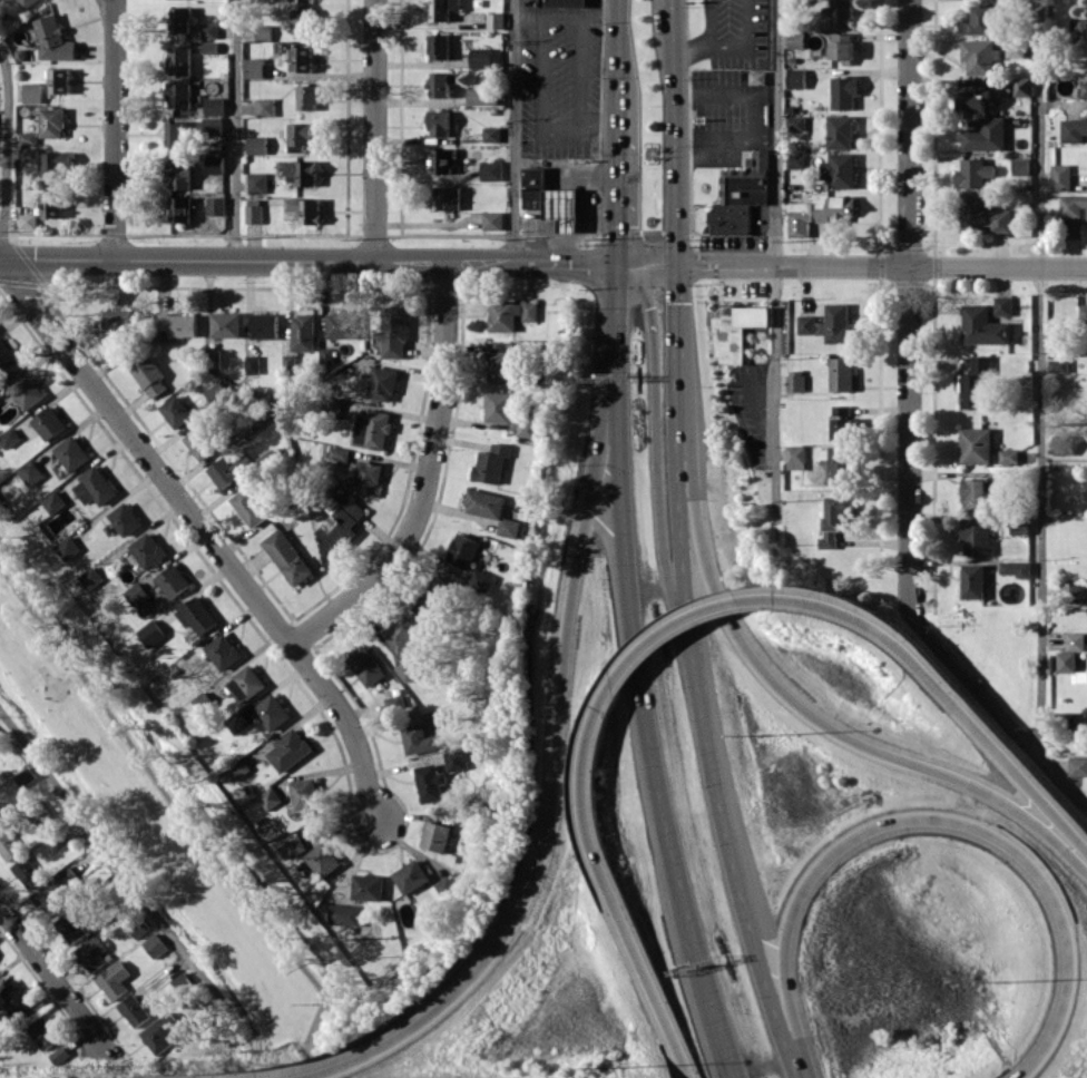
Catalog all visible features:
building: (1022, 0)
building: (28, 2)
road: (111, 2)
road: (112, 2)
building: (564, 2)
building: (443, 9)
road: (598, 10)
building: (842, 12)
building: (180, 19)
road: (540, 19)
building: (303, 20)
building: (496, 20)
building: (981, 20)
building: (1081, 27)
building: (209, 29)
building: (264, 32)
building: (796, 39)
building: (53, 40)
building: (209, 47)
building: (439, 47)
building: (843, 47)
building: (1016, 48)
road: (618, 51)
building: (979, 56)
building: (481, 57)
building: (303, 58)
building: (180, 60)
building: (255, 67)
building: (758, 77)
building: (796, 78)
building: (60, 80)
building: (440, 84)
building: (1024, 86)
building: (1084, 89)
building: (32, 91)
building: (845, 91)
building: (180, 95)
building: (482, 96)
building: (307, 97)
building: (978, 98)
building: (215, 106)
building: (266, 107)
building: (51, 121)
road: (598, 121)
building: (439, 122)
building: (797, 122)
building: (213, 126)
road: (236, 129)
road: (375, 129)
building: (1074, 129)
road: (515, 130)
road: (115, 131)
road: (675, 131)
building: (842, 131)
building: (177, 133)
building: (491, 134)
building: (300, 135)
building: (986, 135)
building: (28, 137)
road: (7, 140)
building: (257, 144)
building: (29, 153)
building: (796, 160)
building: (57, 163)
building: (215, 164)
building: (1021, 166)
building: (491, 169)
building: (840, 169)
building: (301, 170)
building: (975, 173)
building: (179, 174)
building: (1061, 176)
building: (257, 182)
road: (616, 183)
building: (742, 194)
building: (448, 197)
building: (551, 199)
building: (51, 204)
building: (216, 205)
building: (1073, 205)
building: (180, 209)
building: (304, 209)
building: (254, 210)
building: (820, 213)
building: (983, 214)
building: (492, 219)
building: (28, 220)
road: (543, 261)
road: (776, 261)
traffic signals: (615, 262)
traffic signals: (678, 264)
building: (1003, 305)
road: (909, 307)
building: (1083, 312)
building: (511, 314)
building: (118, 322)
building: (178, 324)
building: (226, 324)
building: (341, 324)
building: (831, 324)
building: (265, 325)
building: (983, 326)
building: (737, 330)
building: (303, 332)
building: (394, 332)
building: (8, 360)
building: (502, 362)
building: (253, 363)
building: (1059, 365)
building: (842, 373)
building: (149, 375)
road: (1041, 380)
building: (977, 381)
building: (796, 382)
building: (383, 383)
building: (27, 391)
building: (216, 394)
building: (501, 405)
building: (176, 411)
building: (49, 422)
building: (843, 422)
building: (372, 429)
building: (527, 429)
building: (10, 437)
building: (200, 442)
building: (977, 444)
building: (1061, 447)
building: (72, 452)
building: (339, 453)
building: (270, 455)
building: (1009, 455)
building: (796, 457)
building: (491, 463)
road: (658, 463)
building: (842, 464)
building: (228, 470)
building: (30, 472)
building: (368, 478)
road: (424, 479)
building: (95, 487)
building: (978, 491)
building: (53, 501)
building: (248, 507)
building: (492, 509)
building: (125, 518)
building: (835, 518)
building: (1019, 523)
building: (341, 528)
road: (204, 531)
building: (977, 536)
building: (68, 548)
building: (148, 549)
building: (462, 550)
building: (287, 556)
building: (1016, 568)
building: (91, 577)
building: (481, 579)
building: (173, 580)
building: (973, 580)
building: (136, 592)
building: (433, 599)
building: (196, 615)
road: (669, 621)
building: (401, 631)
building: (151, 633)
building: (1075, 640)
building: (223, 651)
building: (1066, 660)
building: (364, 665)
building: (404, 669)
road: (637, 674)
road: (694, 675)
building: (1079, 677)
building: (245, 683)
road: (939, 687)
road: (786, 692)
building: (203, 702)
building: (394, 703)
building: (272, 712)
road: (996, 714)
building: (432, 716)
building: (236, 723)
building: (417, 738)
building: (288, 749)
building: (458, 757)
building: (1077, 766)
building: (238, 768)
building: (25, 777)
road: (554, 778)
road: (158, 782)
building: (429, 782)
building: (303, 793)
building: (270, 797)
road: (930, 814)
building: (0, 820)
building: (433, 836)
building: (8, 844)
building: (292, 847)
building: (322, 859)
road: (123, 868)
building: (26, 872)
building: (409, 875)
road: (599, 883)
building: (368, 886)
building: (57, 889)
building: (441, 890)
building: (345, 914)
building: (71, 922)
building: (138, 928)
building: (155, 945)
building: (91, 952)
building: (114, 979)
road: (51, 982)
building: (183, 982)
building: (16, 996)
building: (133, 1010)
road: (315, 1025)
building: (43, 1032)
building: (161, 1032)
building: (57, 1055)

